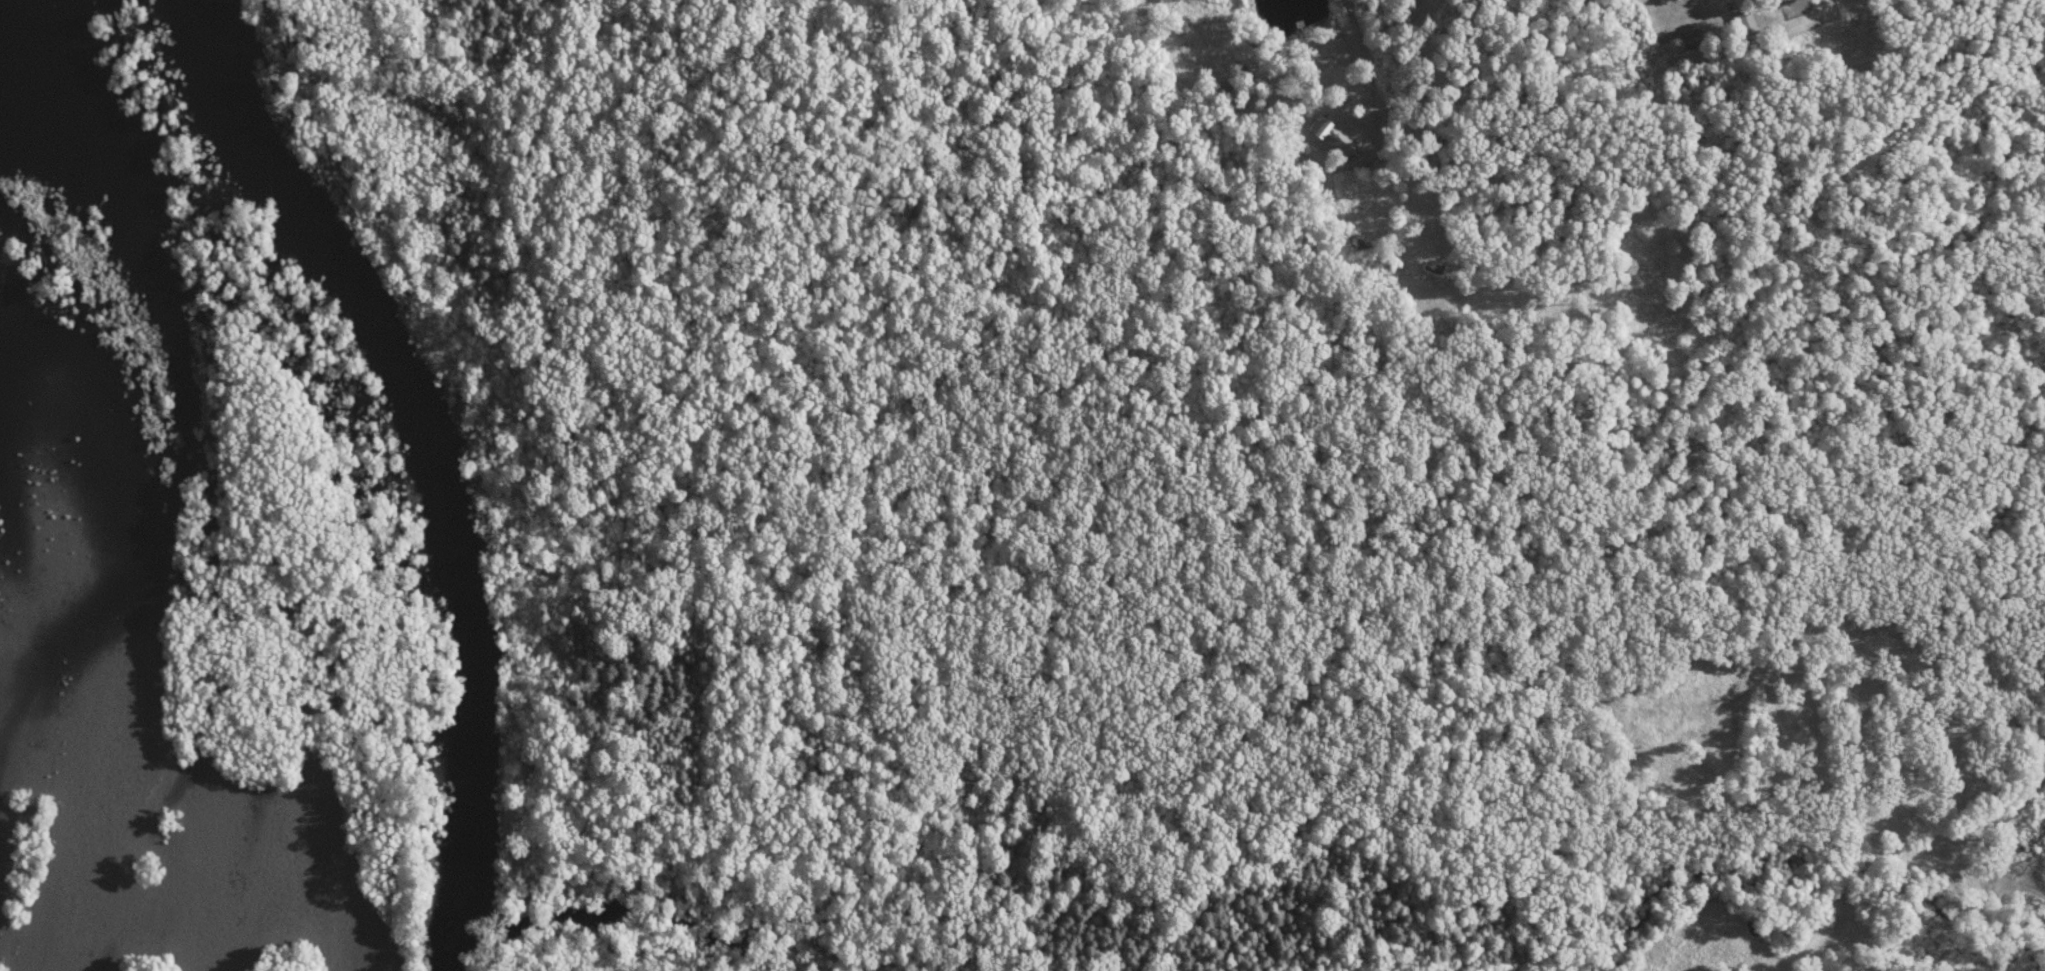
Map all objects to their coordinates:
road: (1374, 86)
building: (1340, 141)

